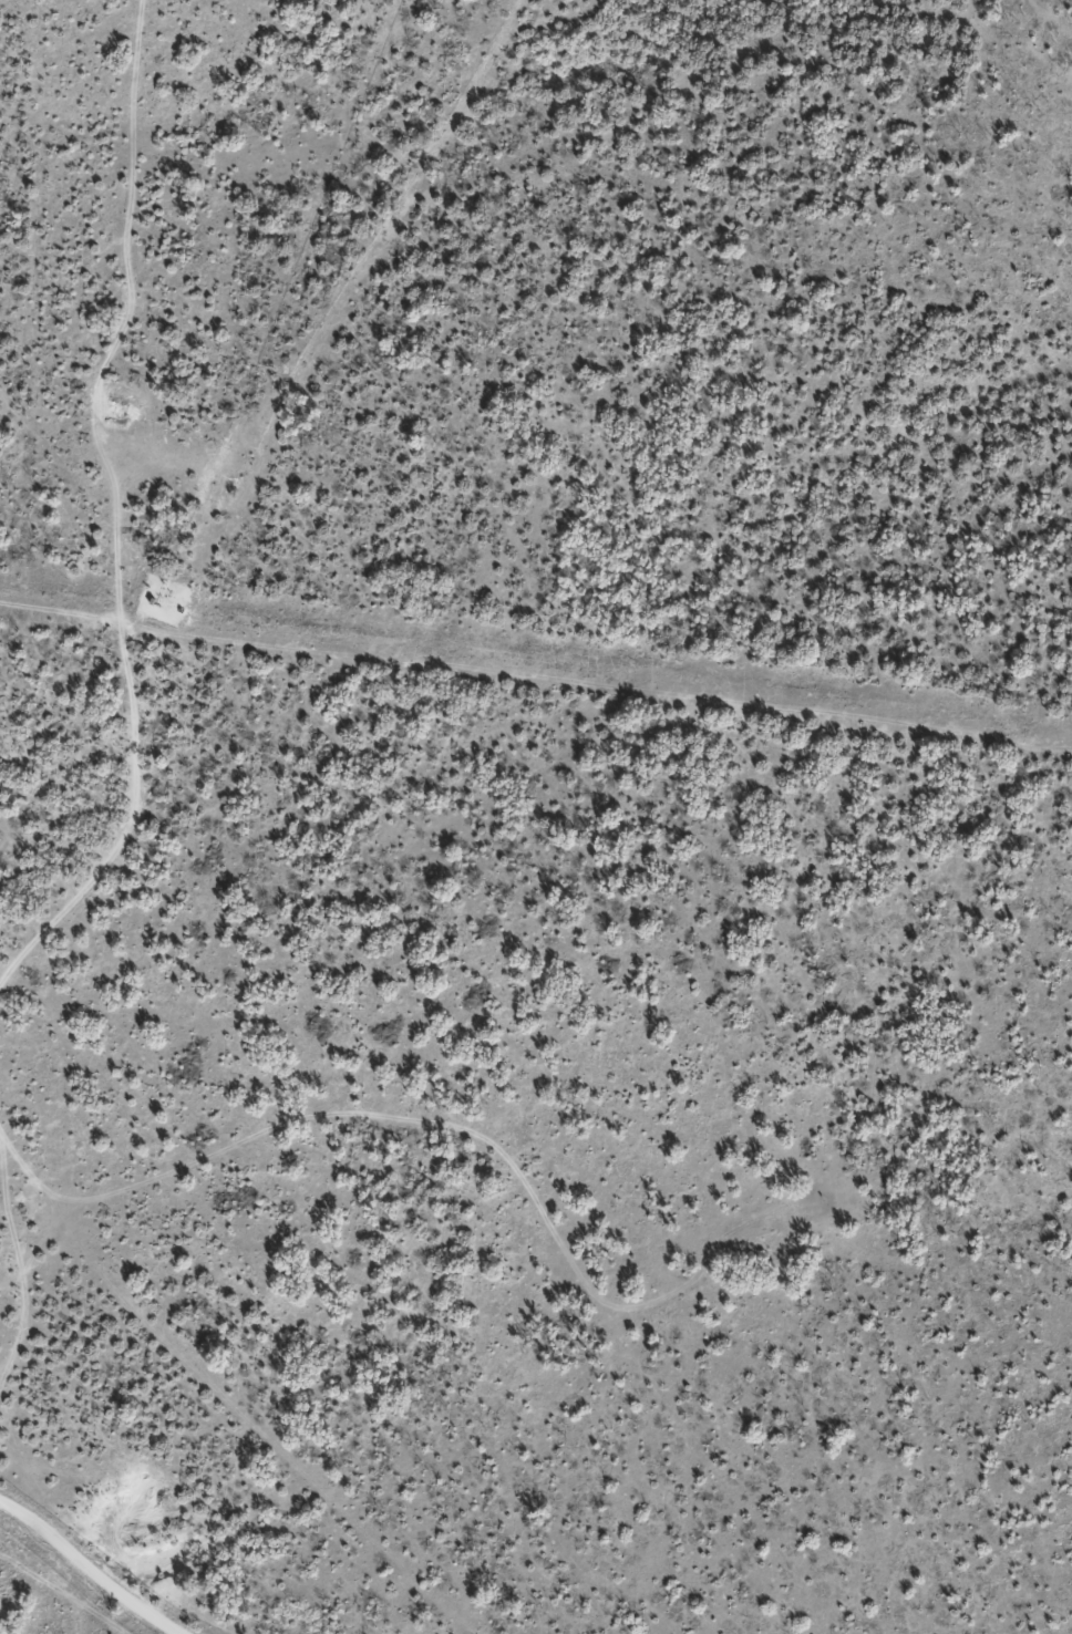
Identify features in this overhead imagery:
road: (135, 536)
road: (33, 1307)
road: (87, 1584)

